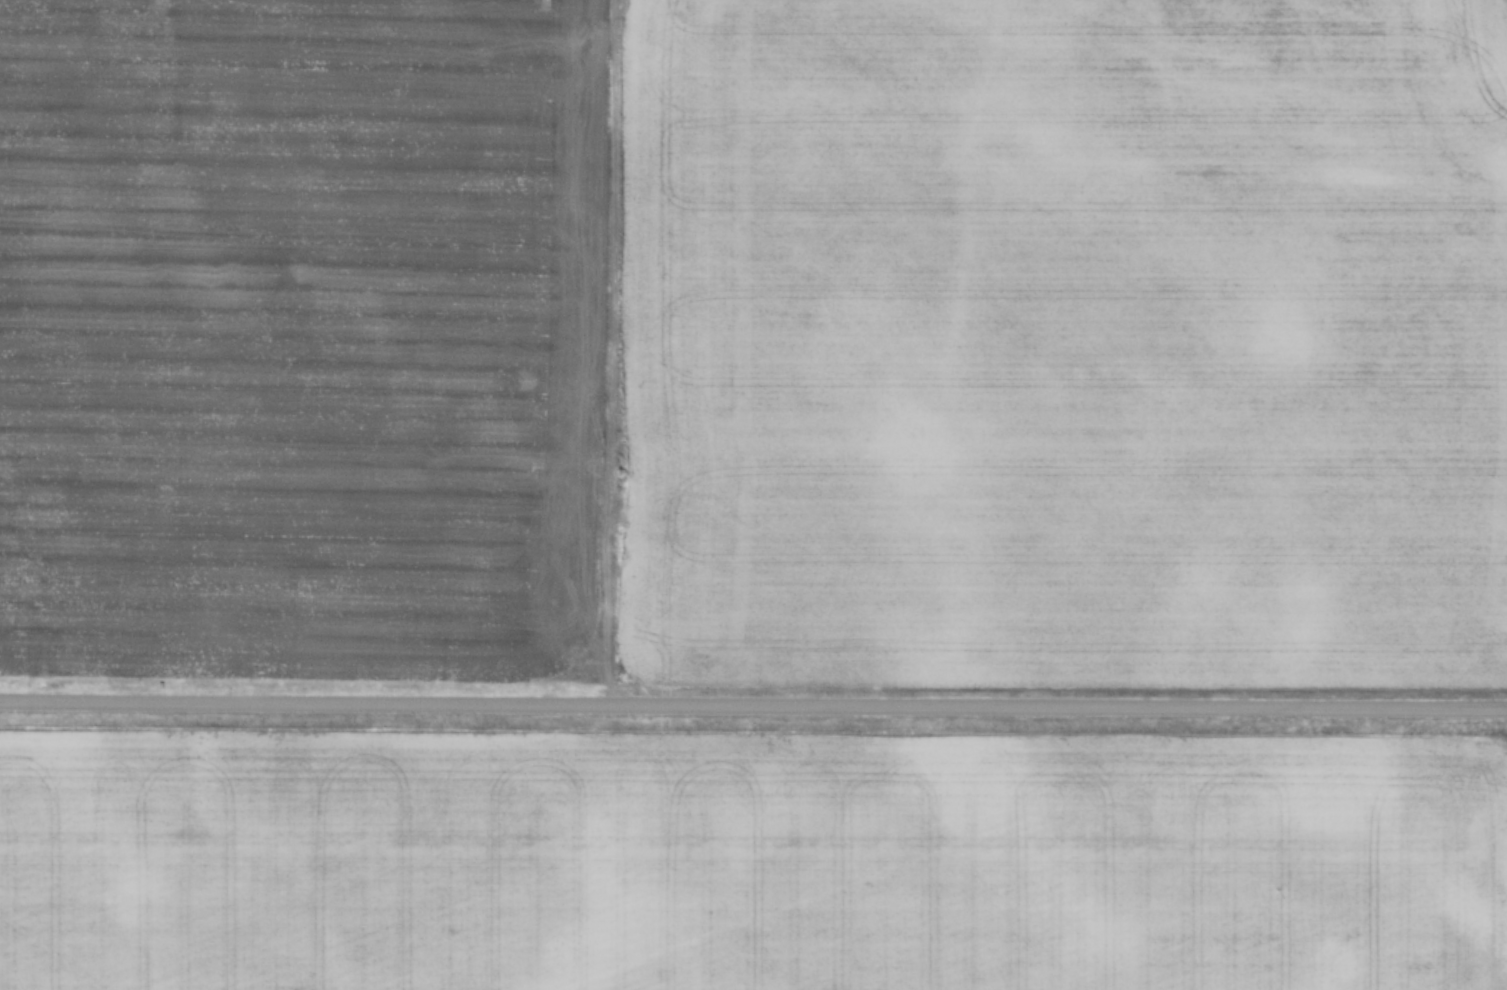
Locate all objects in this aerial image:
road: (753, 706)

